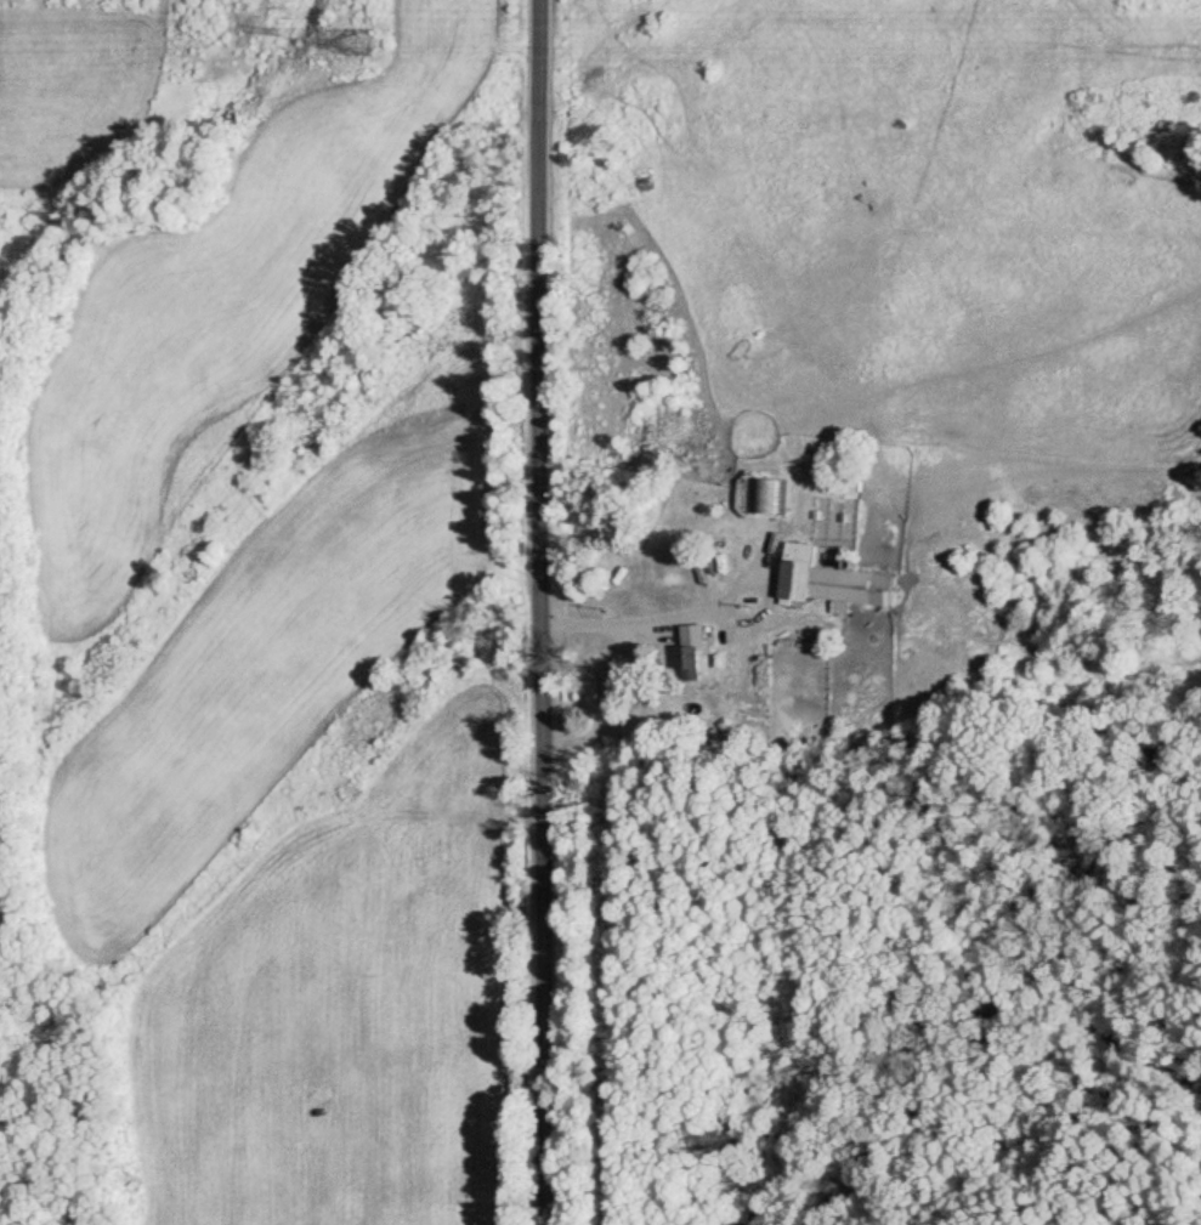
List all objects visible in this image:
power tower: (364, 38)
building: (835, 582)
road: (529, 612)
building: (693, 653)

